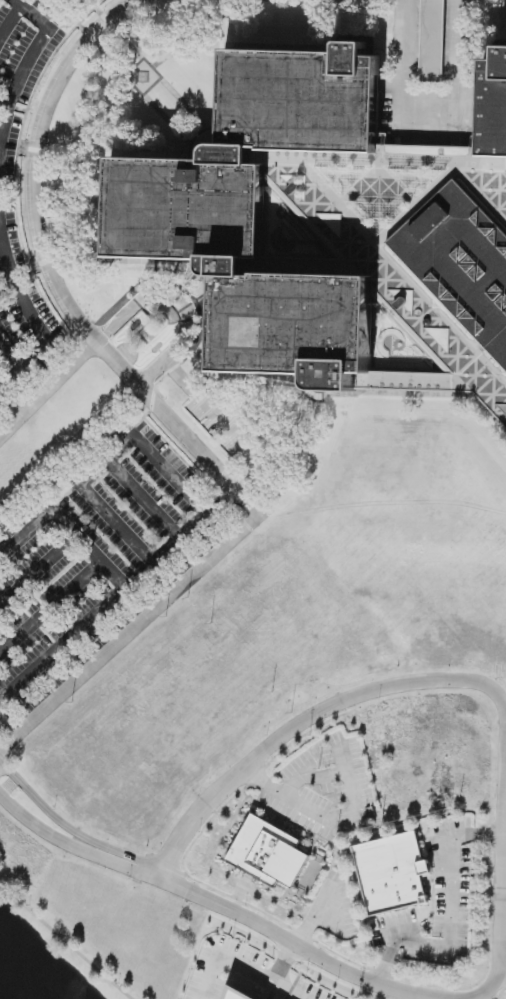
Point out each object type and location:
building: (432, 41)
road: (29, 60)
road: (398, 60)
road: (460, 61)
road: (4, 104)
building: (494, 106)
road: (427, 121)
building: (505, 157)
parking lot: (30, 211)
building: (186, 233)
road: (6, 260)
building: (462, 262)
road: (9, 291)
building: (505, 341)
road: (46, 343)
road: (80, 355)
road: (107, 408)
road: (163, 411)
parking lot: (97, 558)
road: (38, 570)
road: (120, 588)
road: (51, 607)
road: (309, 717)
road: (10, 725)
road: (349, 815)
road: (69, 826)
road: (69, 843)
building: (269, 853)
building: (392, 873)
road: (156, 875)
road: (501, 896)
road: (451, 920)
road: (64, 940)
road: (291, 946)
road: (247, 965)
road: (502, 977)
road: (291, 990)
building: (239, 995)
road: (393, 995)
road: (477, 998)

